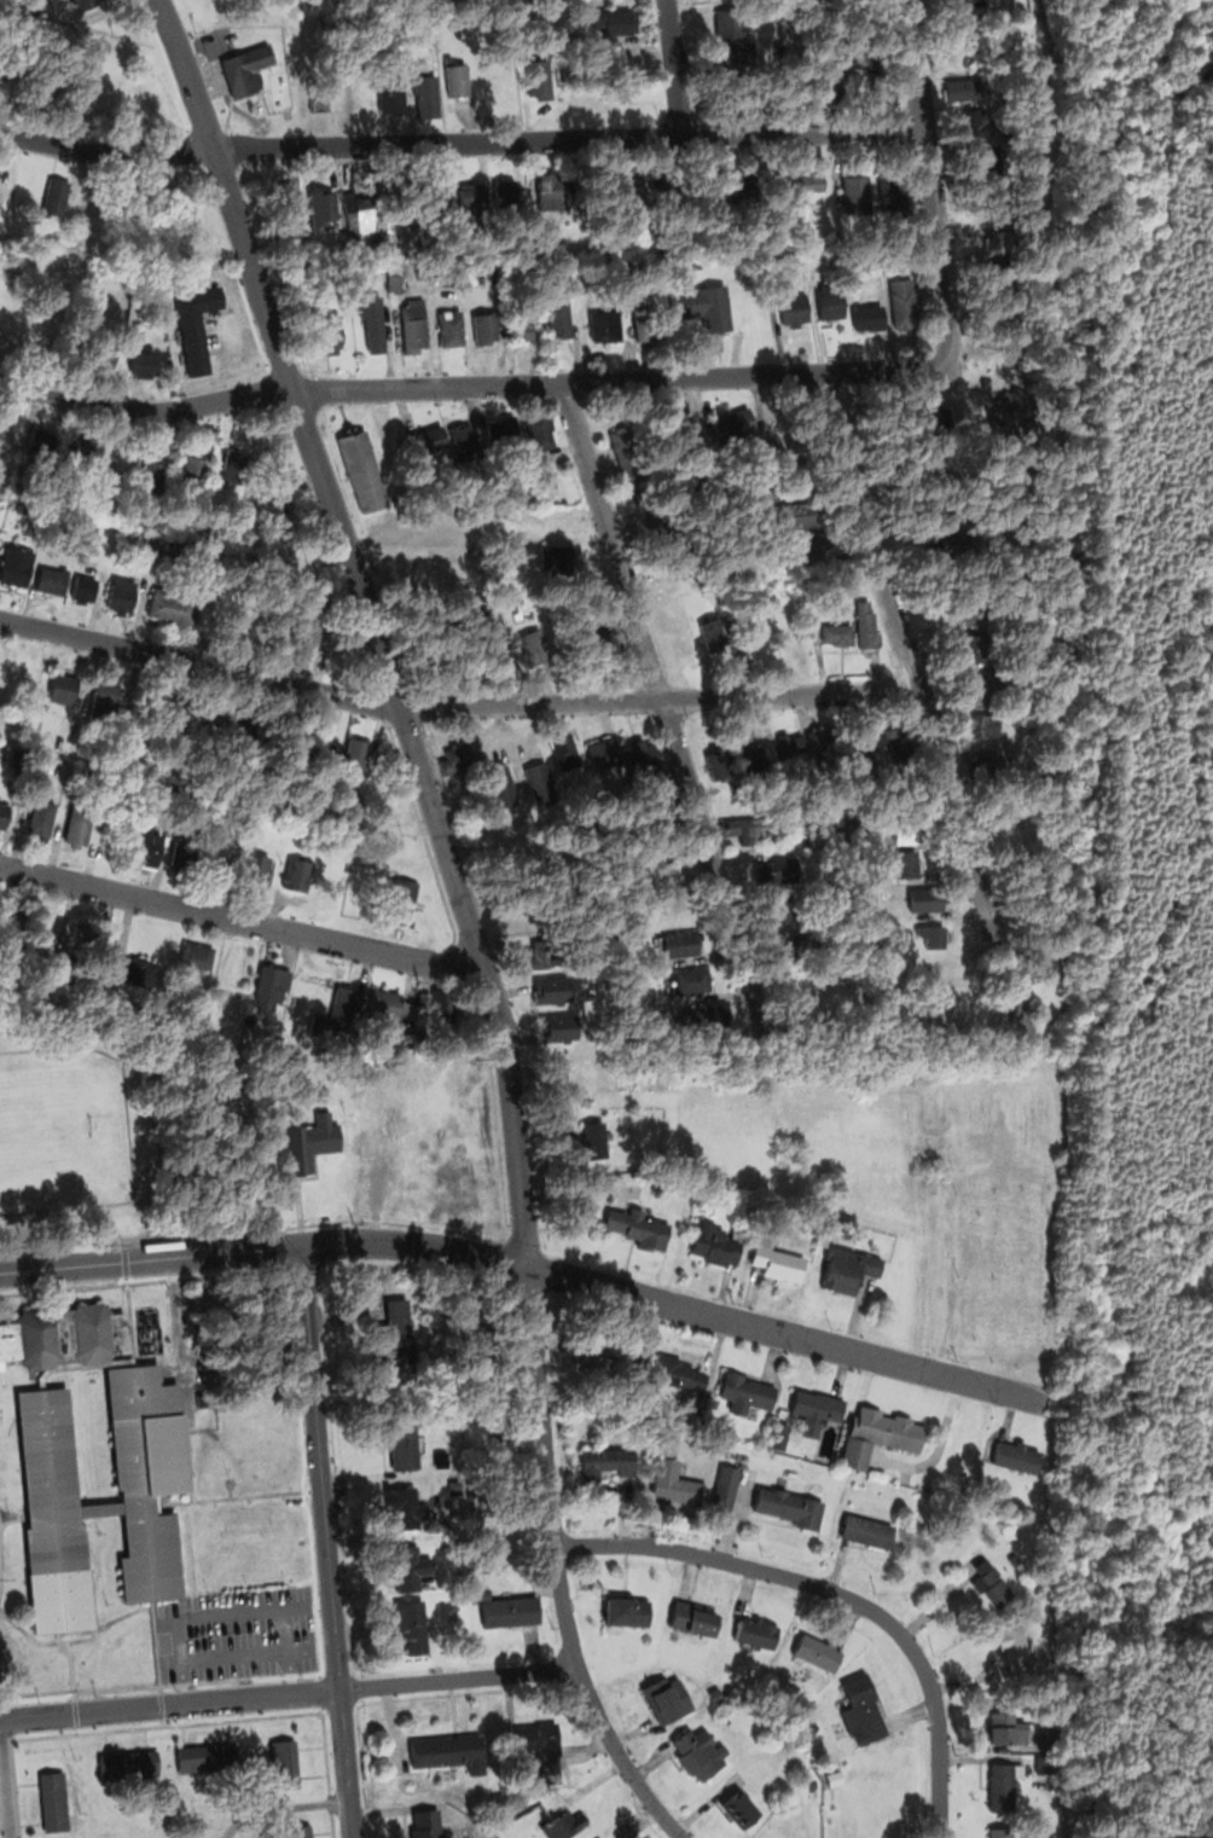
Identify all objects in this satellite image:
building: (37, 4)
building: (87, 4)
building: (615, 21)
building: (730, 22)
building: (742, 58)
building: (248, 65)
building: (539, 65)
road: (673, 66)
building: (458, 80)
building: (387, 91)
building: (319, 97)
building: (426, 97)
road: (459, 139)
building: (663, 180)
building: (777, 180)
building: (813, 181)
building: (628, 182)
building: (593, 189)
building: (893, 189)
building: (747, 191)
building: (555, 192)
building: (855, 193)
building: (510, 195)
building: (56, 197)
building: (475, 198)
building: (400, 201)
building: (436, 201)
building: (321, 208)
building: (362, 208)
building: (289, 213)
building: (192, 215)
road: (936, 247)
building: (558, 248)
building: (370, 254)
building: (449, 276)
building: (394, 277)
building: (830, 301)
building: (901, 303)
building: (703, 306)
building: (793, 309)
building: (867, 314)
building: (558, 315)
building: (193, 321)
building: (372, 321)
building: (646, 321)
building: (451, 326)
building: (486, 326)
building: (605, 326)
building: (408, 327)
building: (524, 329)
building: (327, 334)
building: (101, 358)
building: (143, 361)
road: (410, 385)
building: (733, 421)
building: (540, 428)
building: (503, 431)
building: (39, 437)
building: (395, 437)
building: (433, 437)
building: (465, 443)
building: (82, 445)
building: (628, 450)
building: (232, 464)
building: (362, 470)
building: (152, 474)
building: (191, 474)
building: (552, 486)
building: (533, 491)
building: (275, 504)
building: (91, 526)
building: (812, 529)
building: (952, 537)
building: (162, 543)
building: (557, 558)
building: (17, 561)
building: (51, 579)
building: (85, 587)
building: (122, 595)
building: (174, 604)
building: (529, 611)
building: (517, 614)
building: (969, 614)
building: (243, 622)
road: (372, 622)
building: (866, 624)
building: (304, 628)
building: (491, 630)
building: (838, 632)
building: (714, 634)
building: (602, 643)
building: (960, 644)
building: (540, 647)
building: (436, 656)
building: (969, 683)
building: (63, 688)
road: (658, 689)
building: (105, 702)
road: (452, 705)
road: (919, 707)
building: (1015, 718)
building: (214, 723)
building: (982, 724)
building: (255, 734)
building: (898, 738)
building: (825, 740)
building: (288, 744)
building: (789, 747)
building: (863, 747)
building: (320, 748)
building: (604, 752)
building: (567, 754)
building: (356, 755)
building: (643, 756)
building: (753, 759)
building: (457, 760)
building: (718, 764)
building: (987, 765)
building: (540, 783)
building: (503, 784)
building: (4, 807)
building: (41, 817)
building: (79, 827)
building: (751, 829)
building: (894, 830)
building: (845, 836)
building: (802, 839)
building: (509, 843)
building: (150, 847)
building: (192, 857)
building: (905, 864)
building: (255, 866)
building: (777, 870)
building: (656, 871)
building: (297, 875)
building: (924, 898)
building: (401, 901)
building: (779, 906)
building: (18, 916)
road: (242, 920)
building: (935, 935)
building: (88, 941)
building: (889, 941)
building: (684, 944)
building: (789, 946)
building: (1052, 946)
building: (542, 953)
building: (196, 955)
building: (134, 970)
building: (695, 979)
building: (269, 985)
building: (551, 988)
building: (580, 992)
building: (298, 1003)
building: (384, 1004)
building: (446, 1010)
building: (337, 1013)
building: (715, 1016)
building: (250, 1017)
building: (564, 1026)
park: (63, 1137)
building: (303, 1141)
building: (592, 1142)
building: (12, 1222)
building: (638, 1228)
building: (715, 1241)
road: (62, 1245)
road: (263, 1246)
road: (126, 1257)
building: (774, 1260)
building: (1009, 1269)
building: (847, 1270)
building: (393, 1332)
road: (785, 1332)
building: (63, 1334)
building: (599, 1359)
building: (77, 1367)
building: (678, 1374)
building: (744, 1393)
building: (817, 1409)
building: (779, 1434)
building: (878, 1434)
building: (405, 1440)
building: (1017, 1456)
building: (605, 1462)
road: (320, 1465)
building: (149, 1477)
building: (671, 1484)
building: (724, 1491)
building: (790, 1507)
building: (100, 1508)
building: (401, 1508)
building: (53, 1514)
building: (867, 1531)
road: (557, 1566)
building: (410, 1567)
building: (994, 1587)
road: (837, 1593)
building: (507, 1610)
building: (628, 1611)
road: (217, 1613)
building: (693, 1618)
building: (414, 1624)
building: (756, 1633)
building: (1015, 1645)
building: (816, 1652)
road: (236, 1657)
road: (291, 1671)
road: (458, 1676)
road: (184, 1681)
building: (715, 1694)
building: (667, 1698)
road: (170, 1703)
building: (863, 1710)
building: (1010, 1729)
building: (541, 1744)
building: (448, 1751)
building: (697, 1753)
building: (207, 1758)
road: (346, 1762)
building: (128, 1763)
building: (284, 1764)
road: (5, 1778)
building: (1005, 1781)
building: (812, 1786)
building: (53, 1801)
road: (280, 1807)
building: (739, 1808)
building: (426, 1823)
building: (563, 1825)
building: (300, 1831)
building: (1002, 1832)

